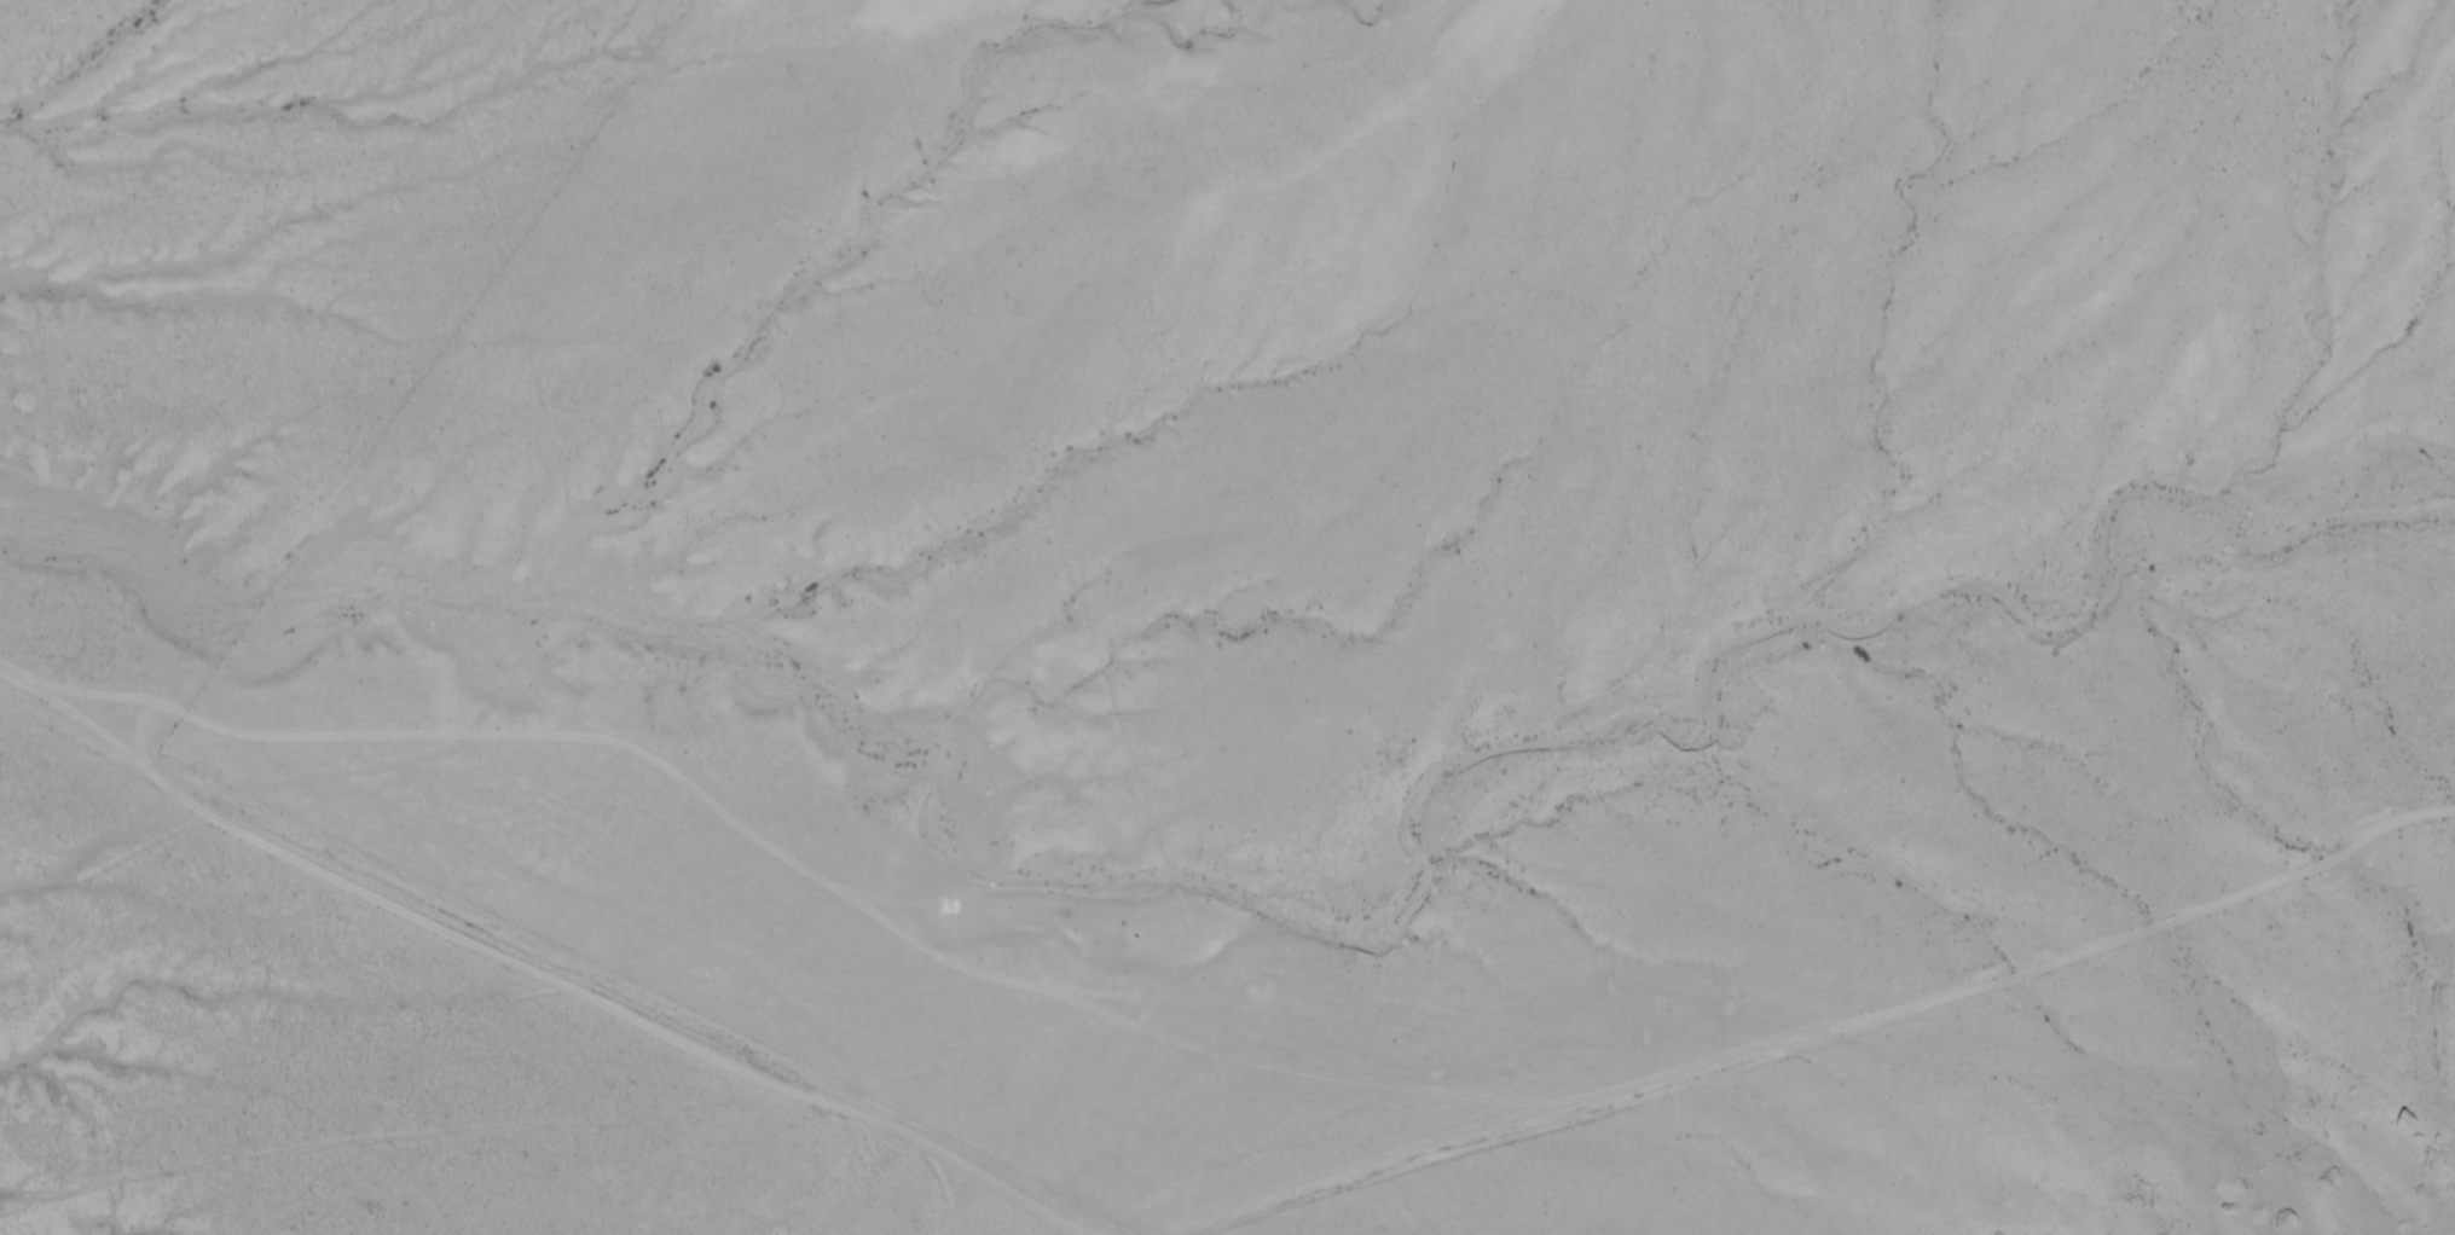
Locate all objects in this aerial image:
road: (548, 955)
road: (1855, 1054)

